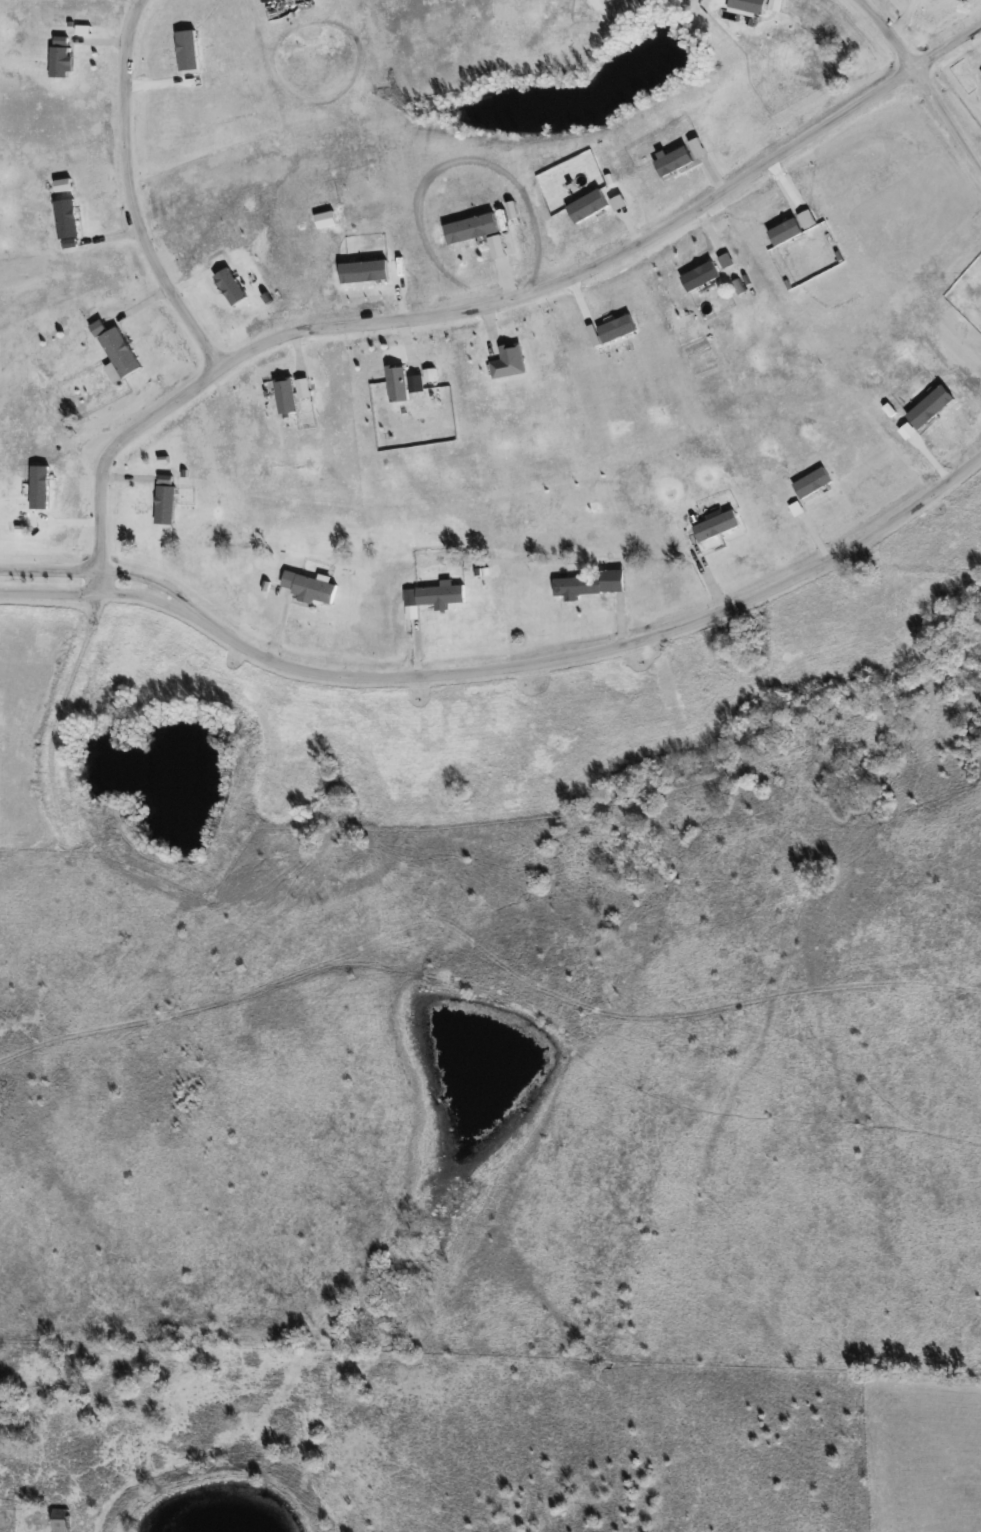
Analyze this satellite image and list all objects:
building: (80, 34)
building: (60, 57)
road: (923, 84)
road: (128, 194)
building: (67, 218)
road: (370, 325)
building: (118, 348)
building: (510, 361)
building: (407, 381)
building: (287, 394)
building: (167, 499)
building: (717, 525)
building: (592, 583)
building: (311, 586)
building: (435, 595)
road: (505, 667)
building: (60, 1520)

